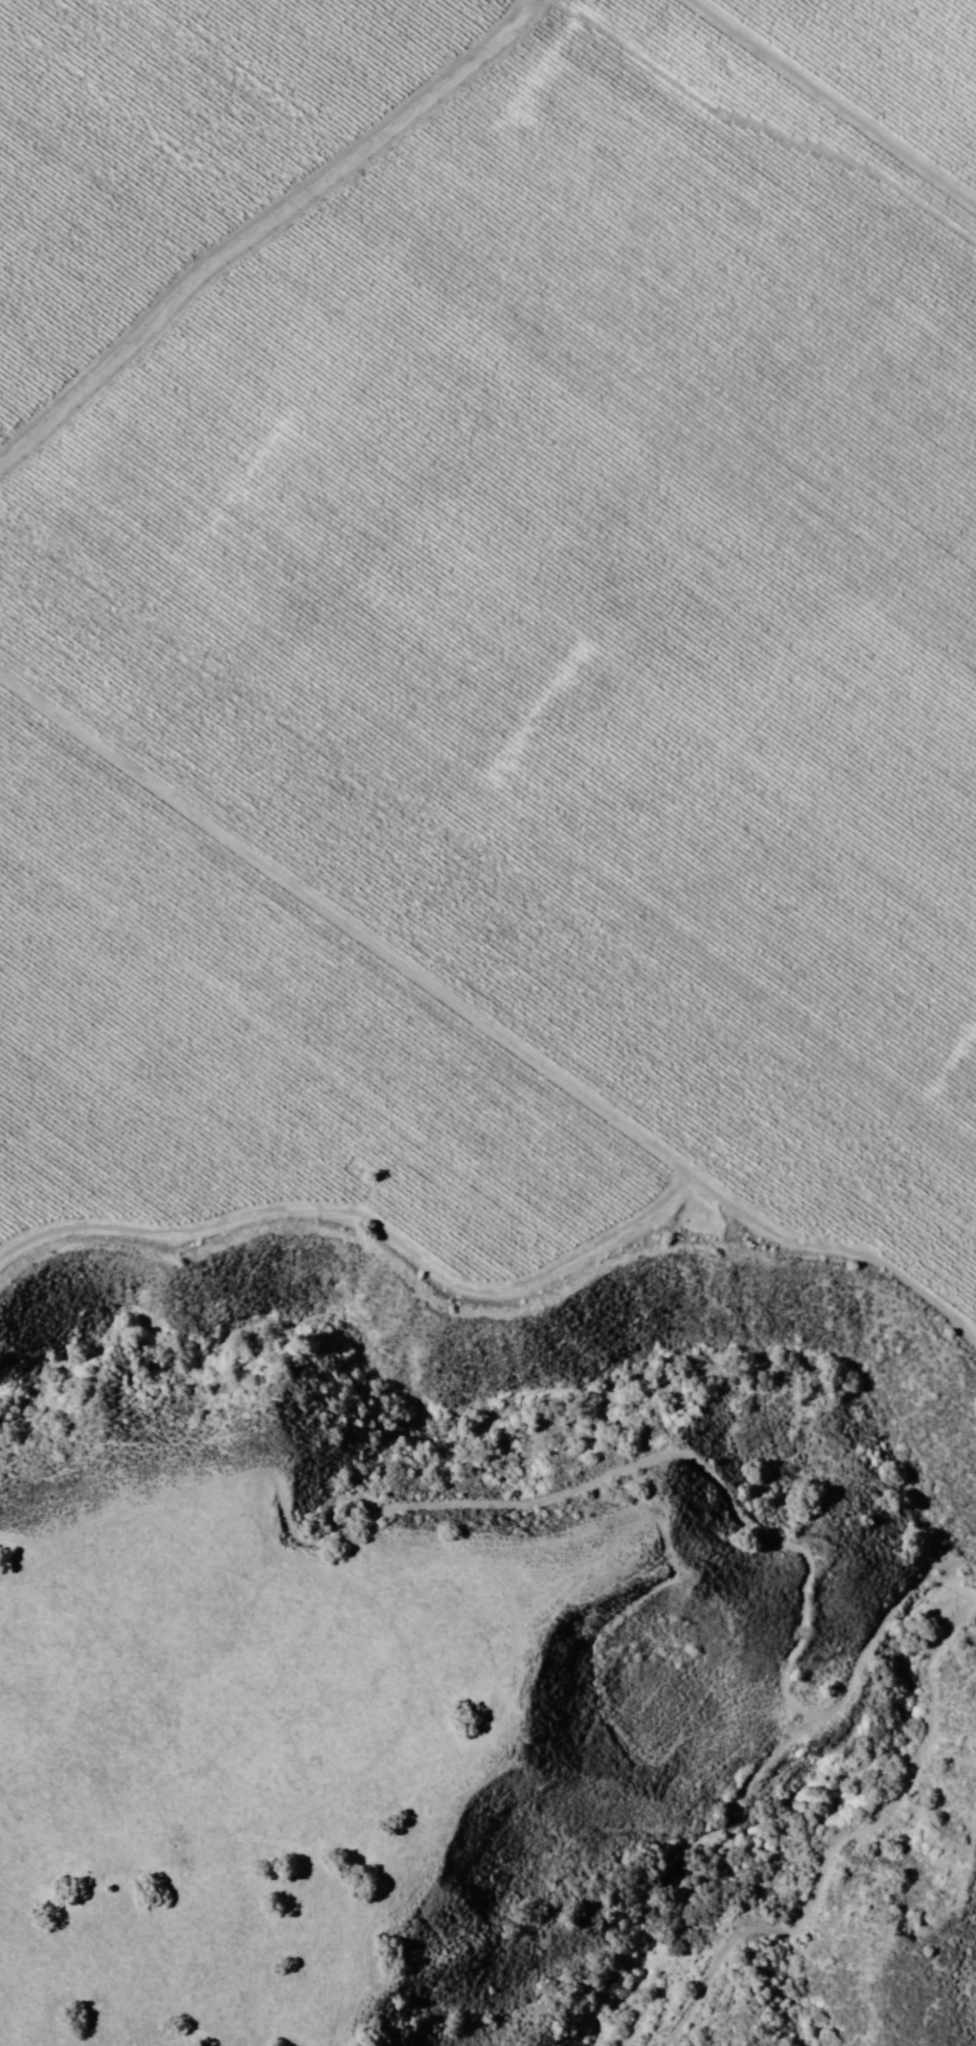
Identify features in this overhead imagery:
road: (860, 1818)

